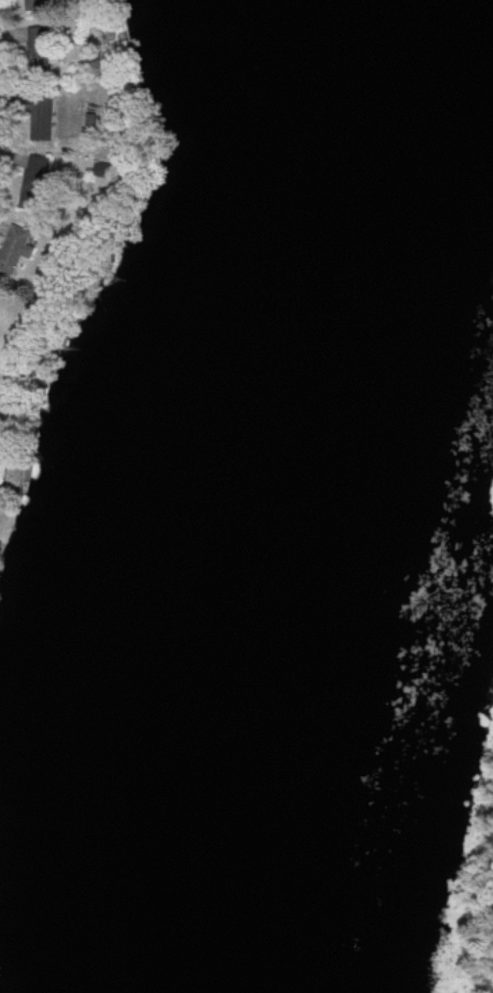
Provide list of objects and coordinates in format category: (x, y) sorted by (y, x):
building: (36, 5)
building: (34, 51)
building: (34, 116)
building: (32, 174)
building: (12, 250)
river: (321, 519)

